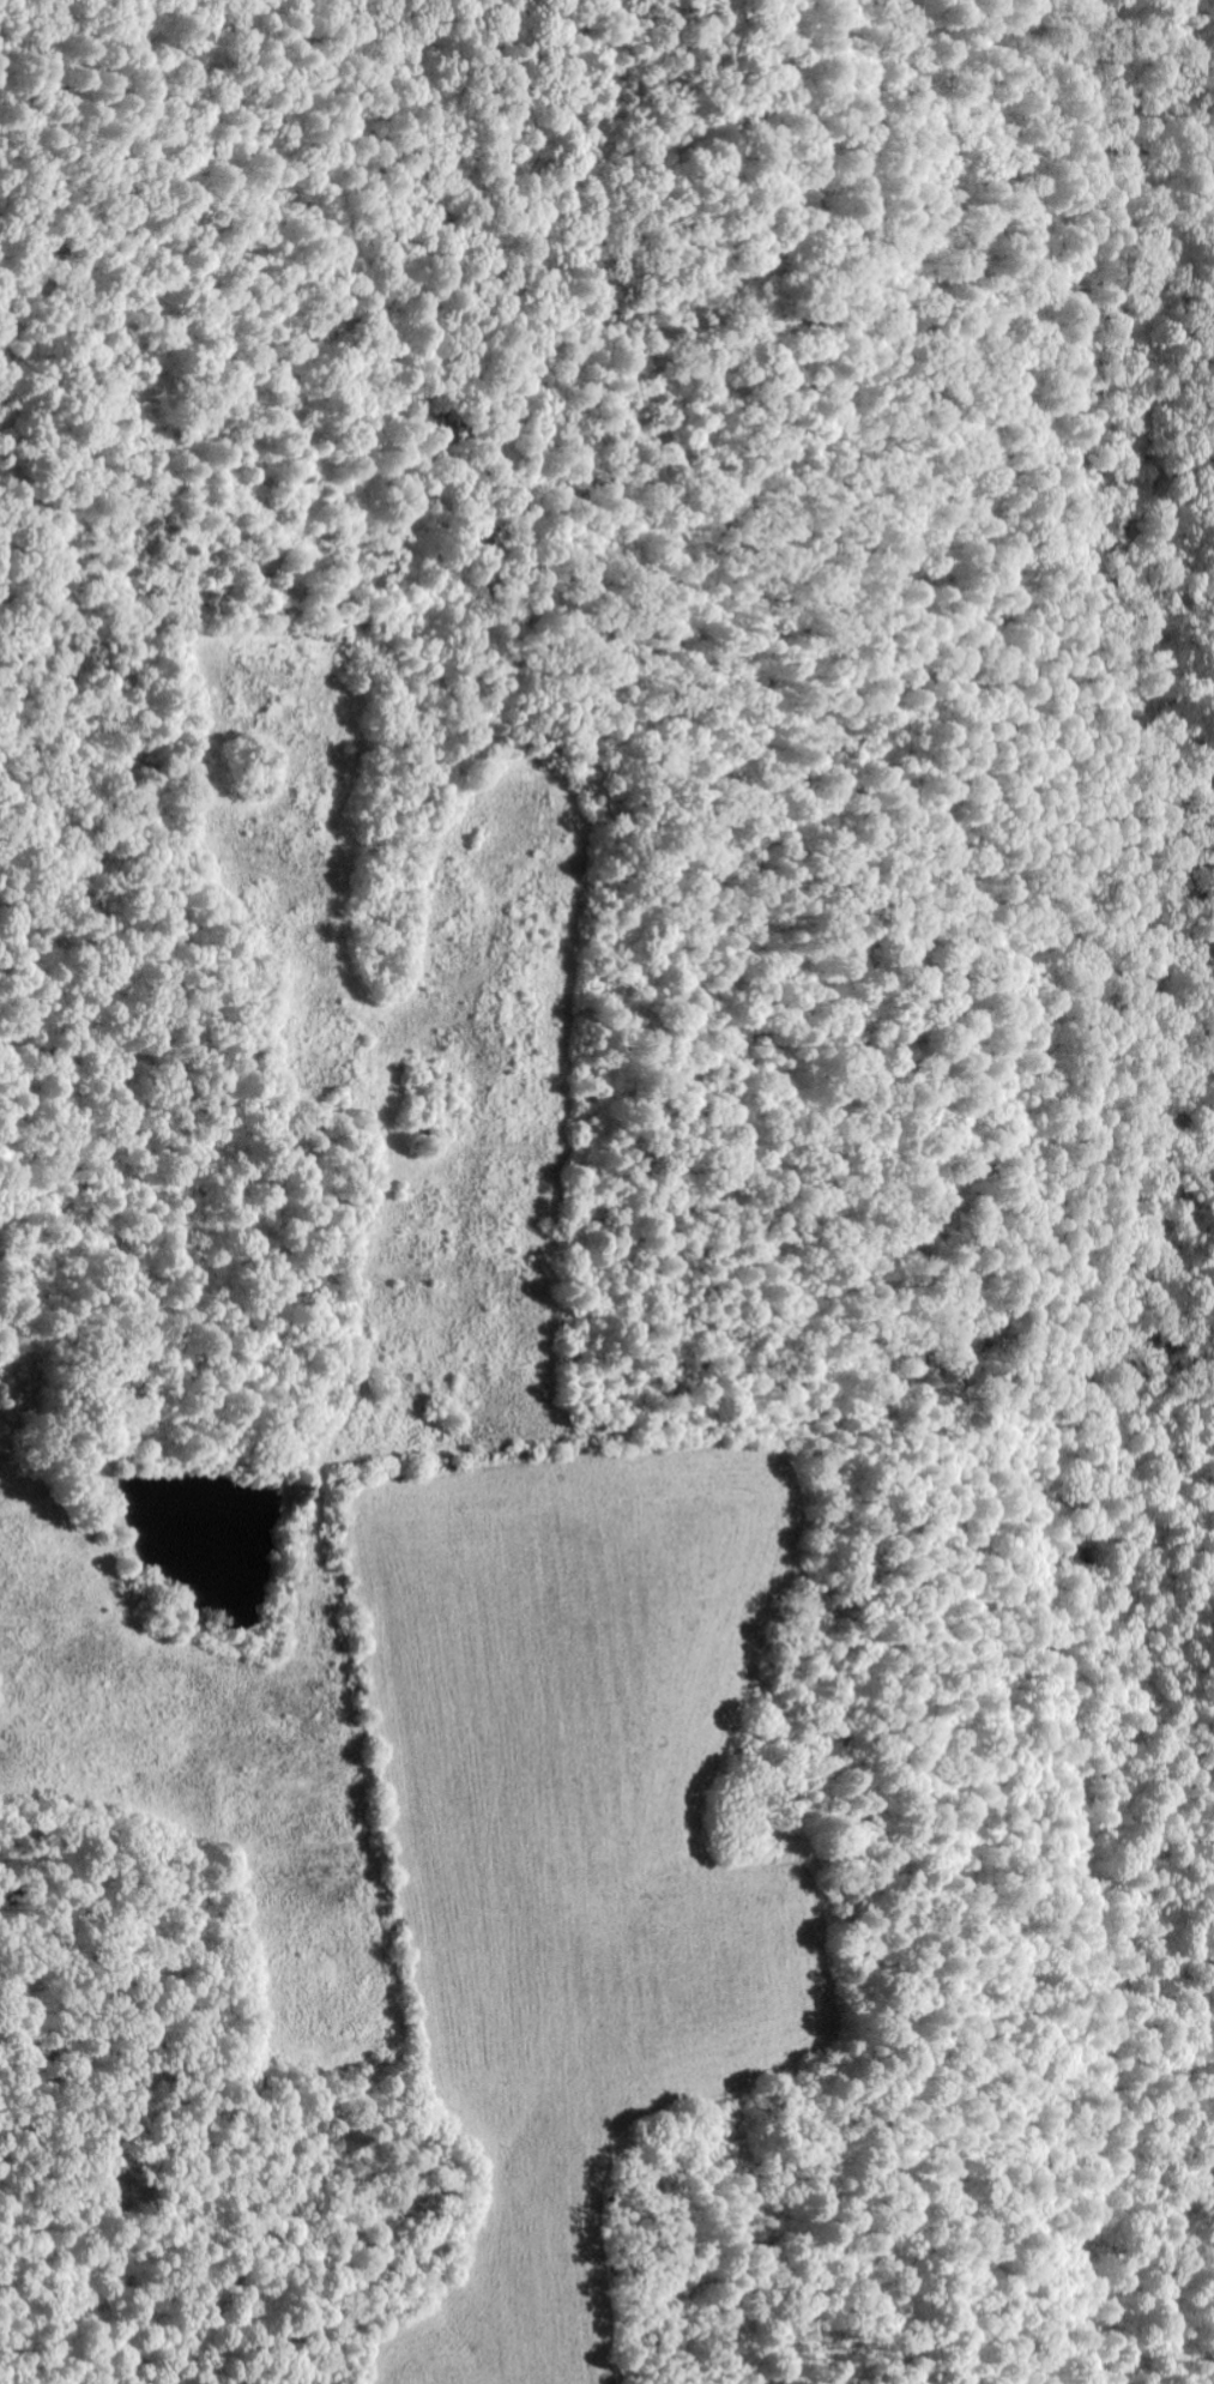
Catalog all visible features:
road: (1137, 373)

